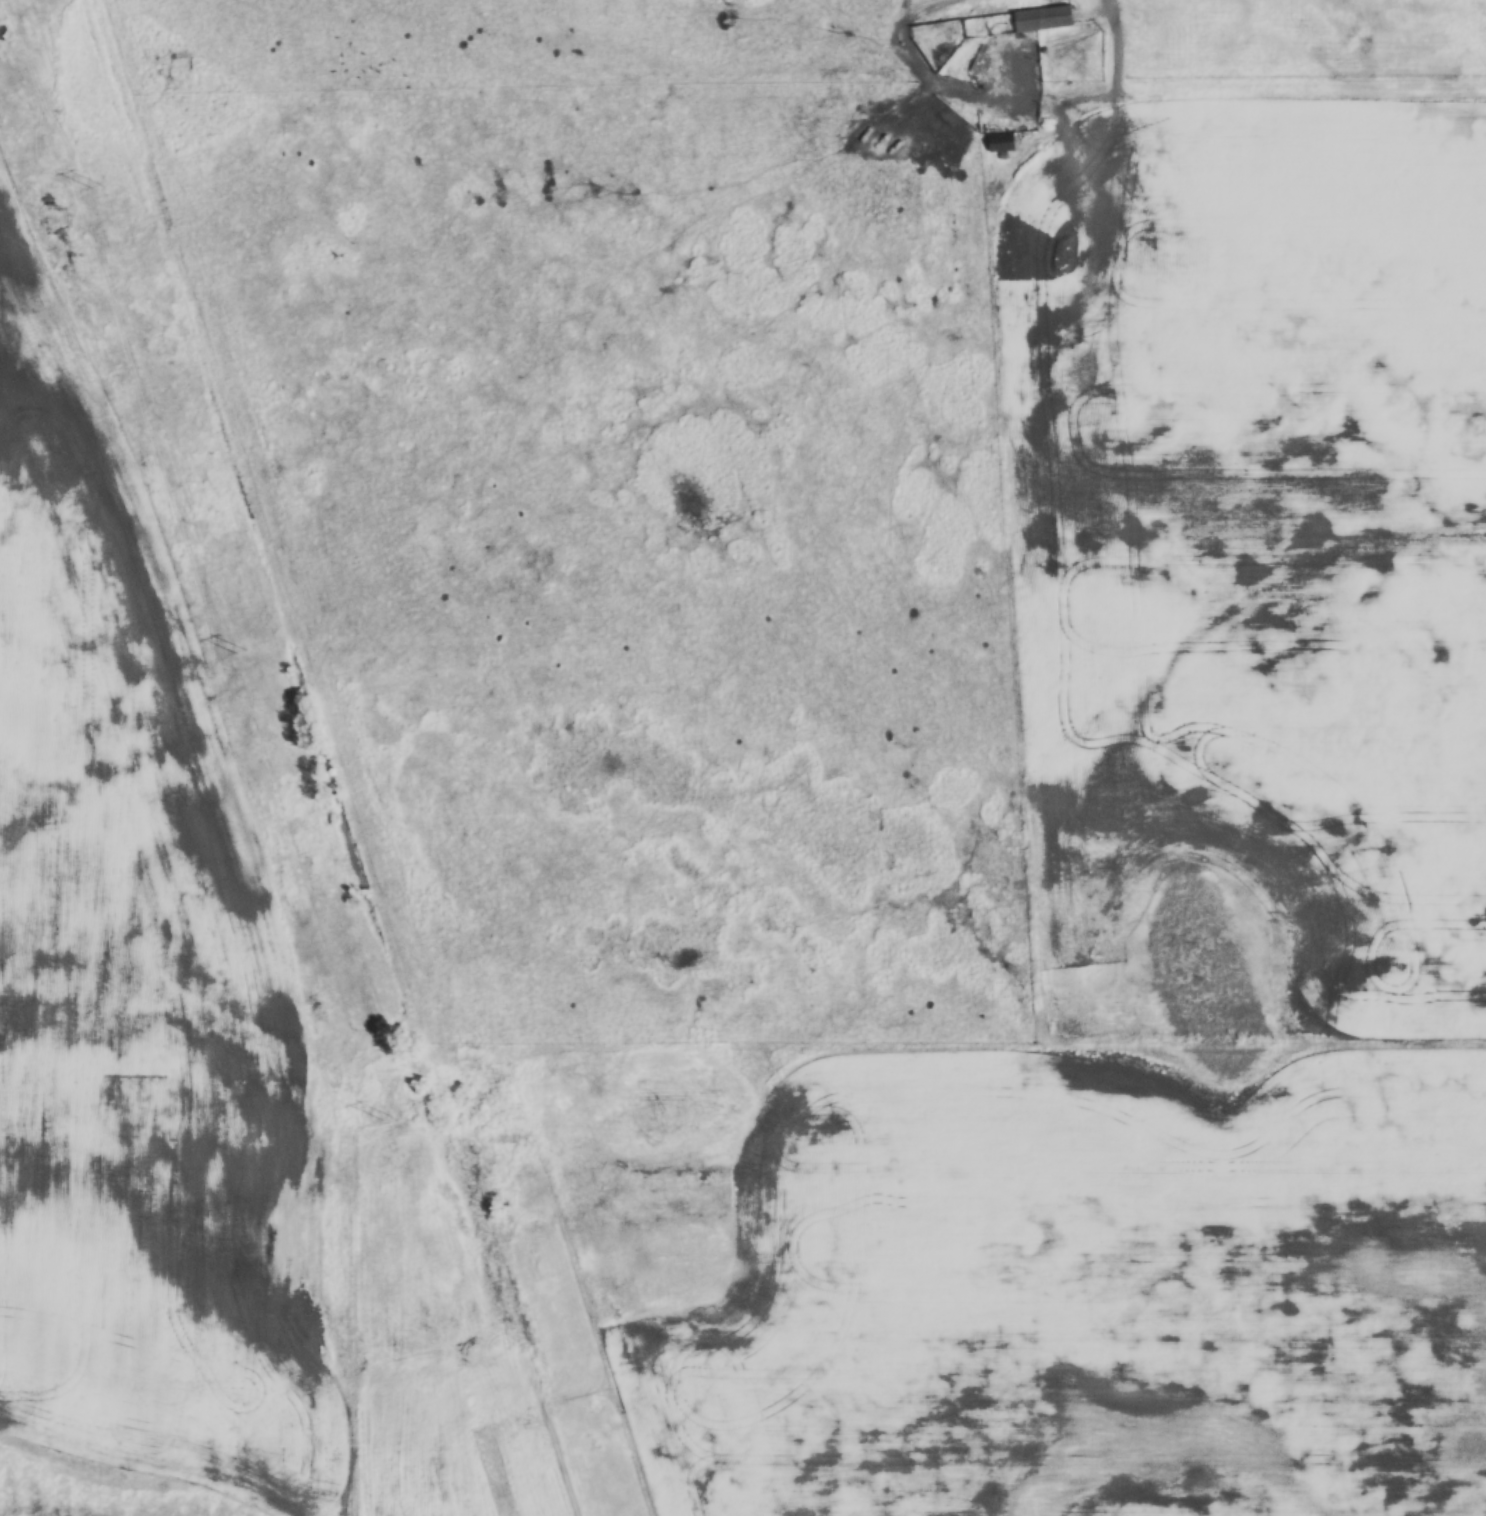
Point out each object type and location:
building: (1019, 21)
road: (1117, 48)
road: (1141, 99)
building: (1001, 143)
power tower: (95, 186)
building: (52, 256)
power tower: (239, 651)
power tower: (383, 1117)

